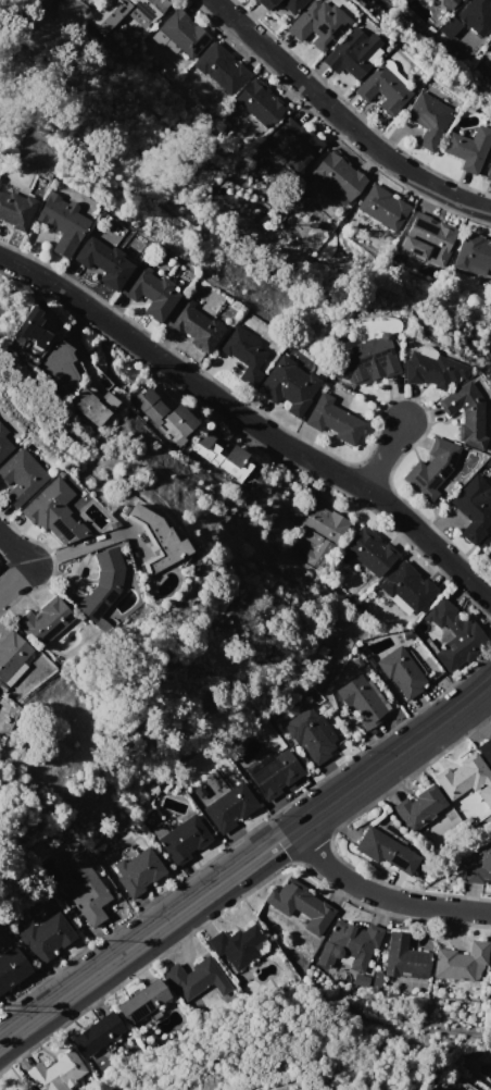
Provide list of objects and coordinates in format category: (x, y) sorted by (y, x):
building: (264, 3)
building: (449, 4)
building: (291, 5)
building: (124, 12)
building: (317, 24)
building: (468, 25)
building: (179, 35)
building: (490, 52)
building: (351, 53)
building: (221, 67)
building: (381, 89)
building: (260, 102)
road: (341, 119)
building: (427, 120)
building: (293, 146)
building: (467, 148)
building: (489, 172)
building: (338, 175)
building: (382, 208)
building: (14, 209)
building: (61, 222)
building: (426, 241)
building: (474, 258)
building: (103, 262)
building: (150, 292)
building: (196, 326)
building: (29, 327)
building: (242, 350)
building: (369, 360)
building: (59, 364)
building: (432, 370)
building: (288, 385)
building: (88, 407)
building: (163, 414)
building: (465, 414)
building: (336, 419)
road: (251, 422)
building: (3, 443)
road: (382, 454)
building: (224, 457)
building: (431, 469)
building: (21, 476)
building: (474, 506)
building: (53, 512)
building: (319, 531)
building: (155, 538)
road: (76, 546)
road: (14, 550)
building: (368, 552)
building: (489, 556)
road: (14, 580)
building: (102, 584)
building: (406, 589)
building: (45, 620)
building: (454, 635)
building: (11, 653)
building: (401, 672)
building: (363, 701)
building: (312, 734)
building: (486, 751)
road: (393, 756)
building: (272, 773)
building: (466, 779)
building: (230, 807)
building: (419, 808)
building: (184, 839)
building: (385, 851)
building: (479, 868)
building: (138, 871)
building: (86, 889)
road: (379, 899)
building: (301, 905)
road: (148, 934)
building: (46, 938)
building: (239, 946)
building: (349, 950)
building: (405, 958)
building: (462, 962)
building: (11, 967)
building: (490, 967)
building: (191, 977)
building: (142, 1000)
building: (97, 1033)
building: (56, 1073)
building: (25, 1088)
building: (480, 1089)

